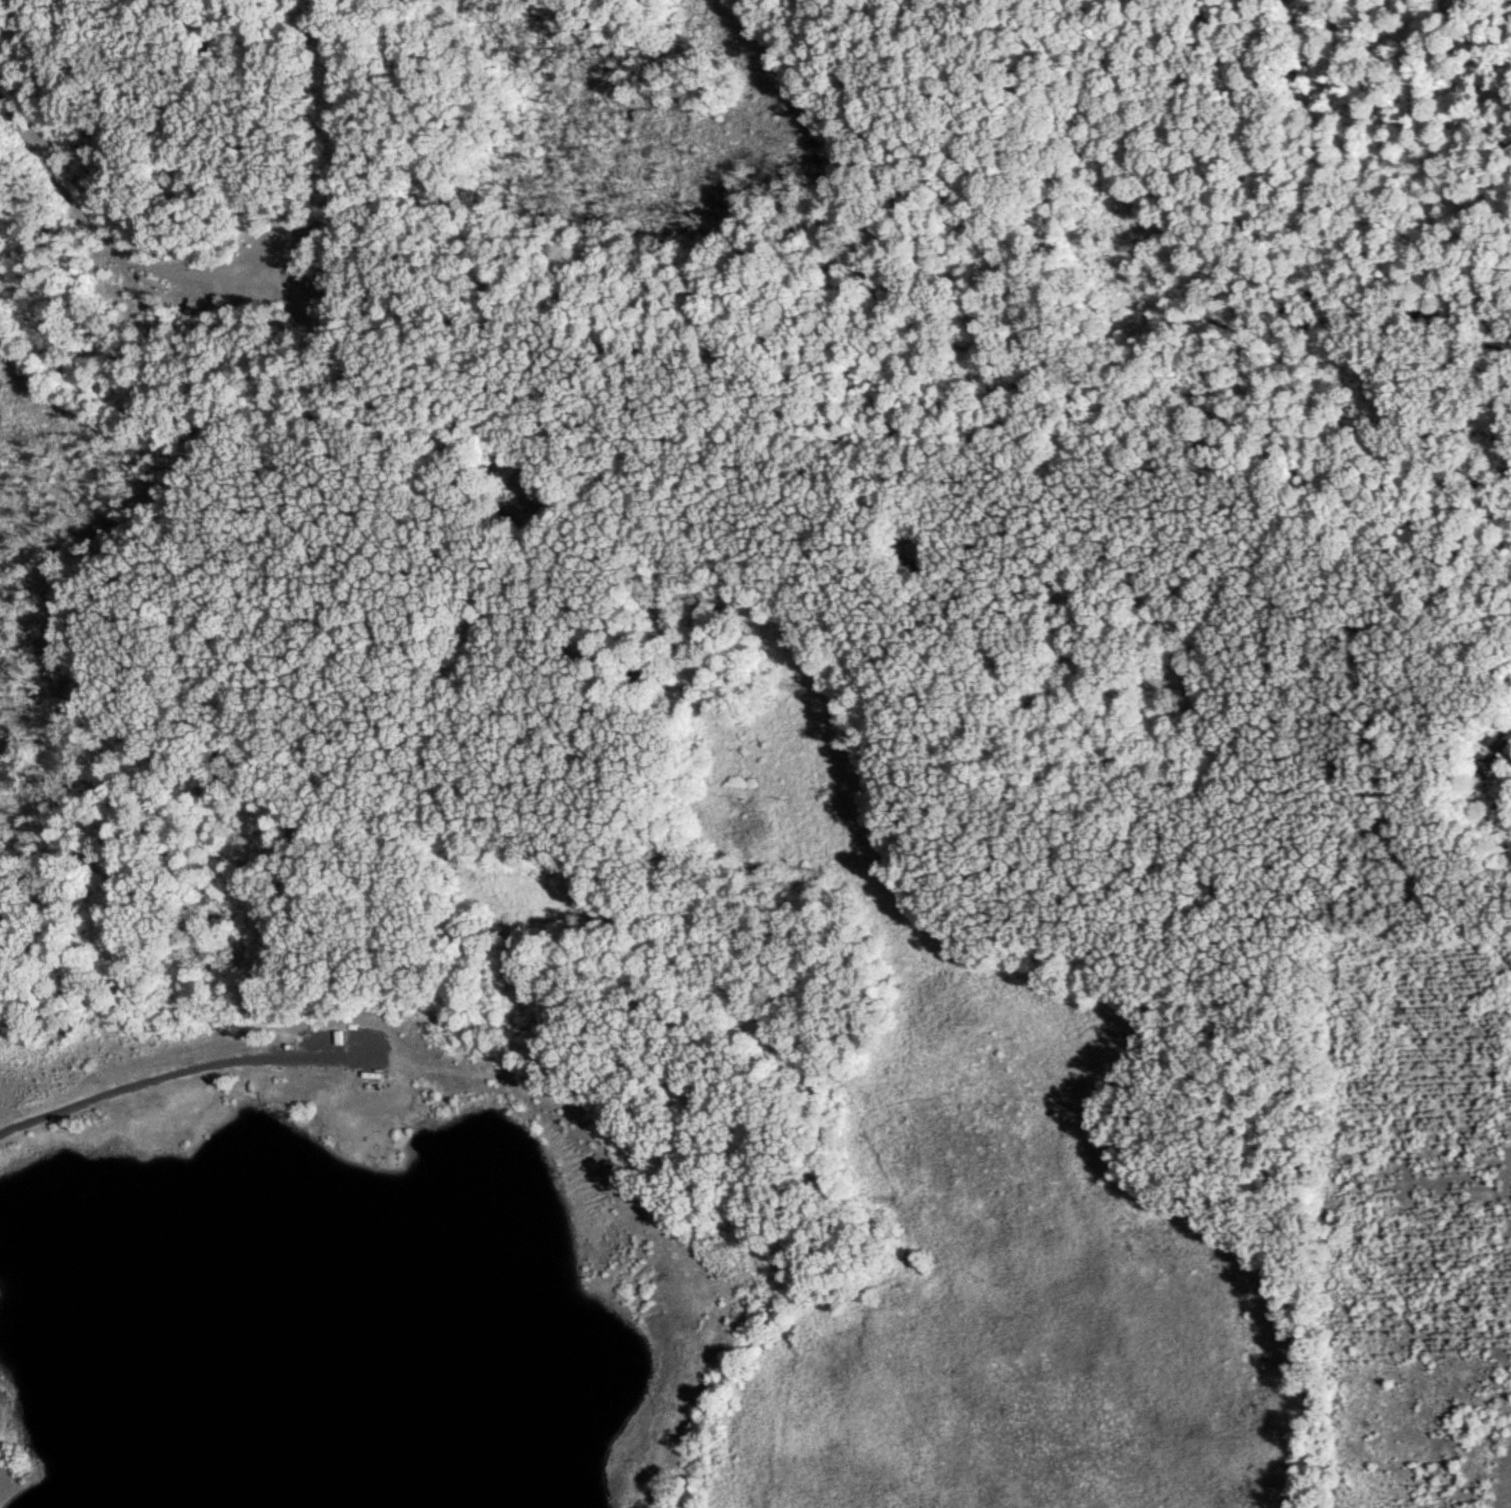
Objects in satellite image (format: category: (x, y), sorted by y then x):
road: (207, 1062)

